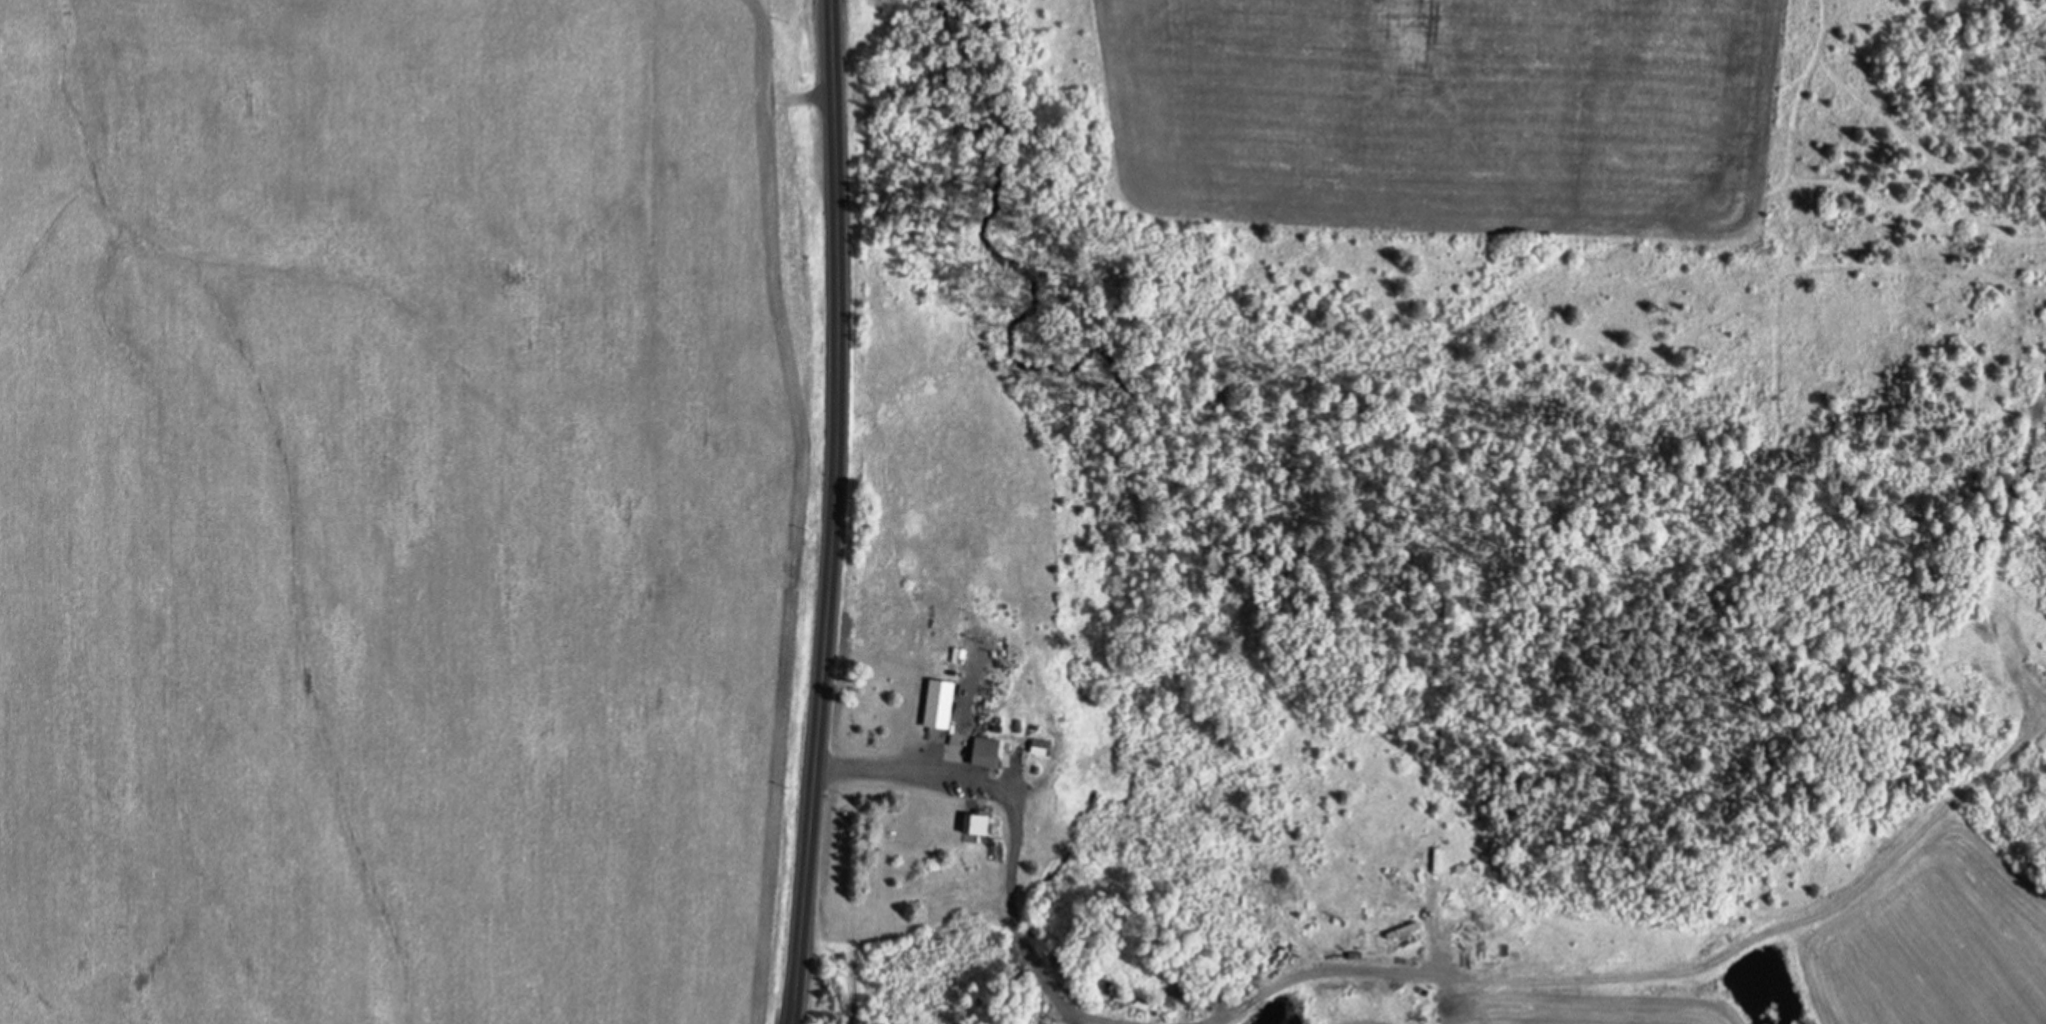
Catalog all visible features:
road: (832, 512)
building: (939, 701)
building: (1018, 724)
building: (1040, 744)
building: (985, 749)
building: (976, 819)
road: (1015, 841)
road: (1326, 967)
building: (1131, 999)
building: (1464, 1003)

